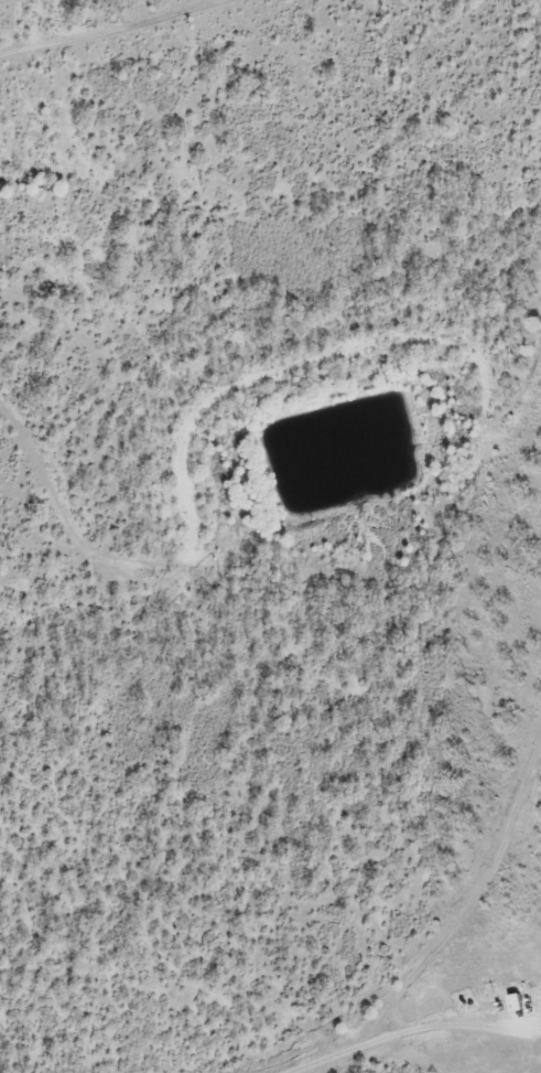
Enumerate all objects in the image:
building: (511, 1001)

